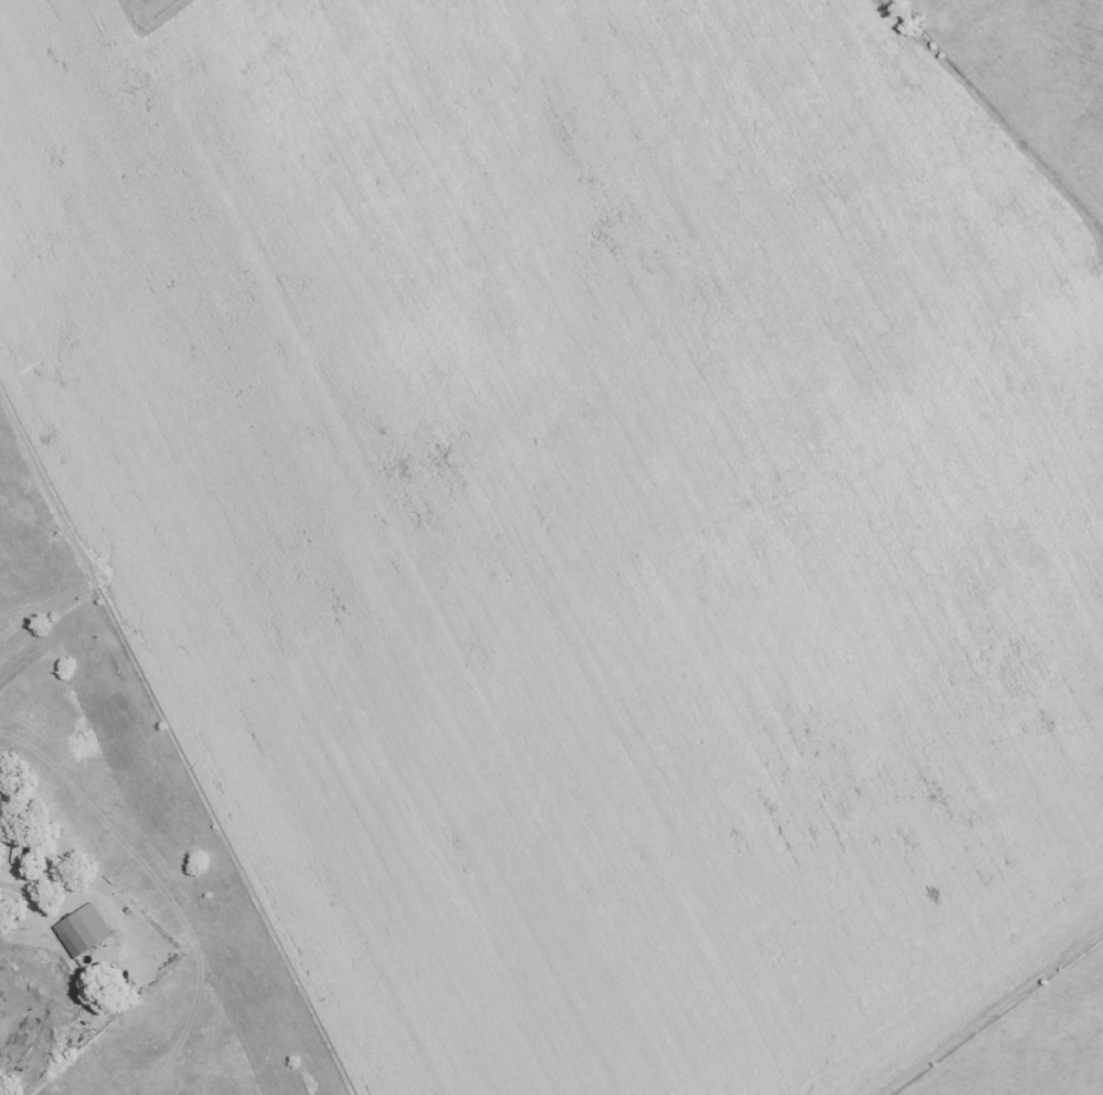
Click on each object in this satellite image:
building: (77, 935)
road: (997, 1012)

